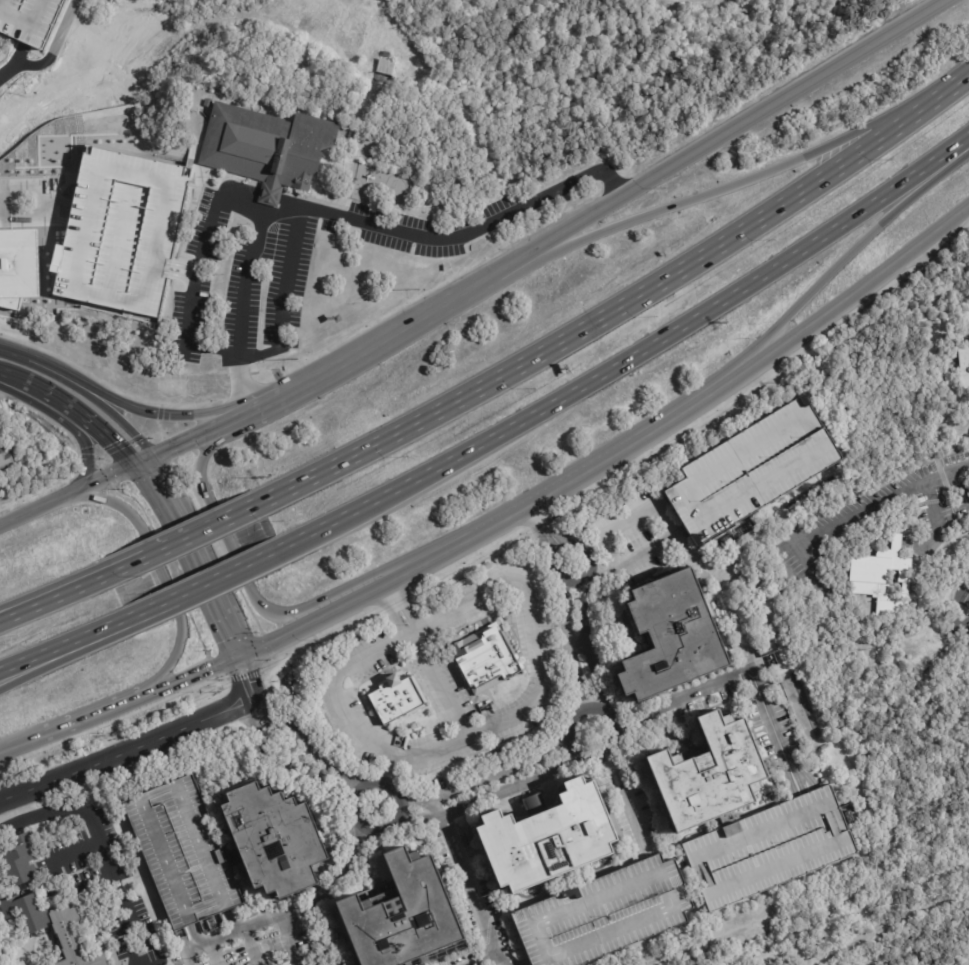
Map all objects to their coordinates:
building: (29, 19)
parking garage: (29, 19)
road: (50, 53)
building: (385, 71)
road: (818, 81)
building: (212, 90)
road: (944, 90)
building: (209, 103)
building: (267, 147)
road: (726, 190)
road: (27, 207)
road: (605, 209)
road: (468, 224)
building: (121, 228)
parking garage: (121, 228)
building: (23, 265)
road: (825, 280)
road: (246, 281)
road: (192, 283)
road: (285, 304)
road: (445, 305)
road: (940, 311)
road: (825, 315)
road: (599, 321)
road: (631, 359)
road: (35, 363)
building: (965, 366)
road: (337, 367)
park: (853, 375)
road: (1, 381)
road: (22, 387)
road: (296, 388)
road: (252, 409)
road: (143, 412)
road: (115, 416)
road: (939, 423)
road: (91, 433)
road: (82, 438)
road: (182, 442)
traffic signals: (106, 447)
traffic signals: (173, 447)
road: (950, 450)
building: (4, 456)
building: (752, 468)
parking garage: (752, 468)
road: (148, 471)
traffic signals: (154, 481)
road: (71, 494)
road: (882, 497)
road: (538, 498)
road: (226, 520)
road: (545, 525)
road: (506, 535)
road: (182, 540)
road: (196, 557)
road: (140, 559)
road: (701, 563)
road: (160, 569)
road: (218, 576)
building: (885, 578)
road: (580, 580)
road: (245, 583)
road: (77, 587)
road: (402, 602)
road: (23, 605)
road: (147, 608)
road: (23, 610)
road: (388, 612)
road: (318, 616)
road: (531, 621)
road: (110, 624)
road: (408, 631)
building: (672, 635)
traffic signals: (232, 637)
road: (592, 642)
road: (235, 645)
road: (571, 645)
building: (766, 648)
road: (44, 654)
building: (487, 659)
road: (45, 665)
traffic signals: (206, 667)
road: (193, 672)
road: (244, 672)
road: (742, 677)
traffic signals: (247, 683)
building: (395, 698)
road: (97, 715)
road: (299, 740)
road: (23, 745)
road: (126, 749)
road: (608, 751)
road: (398, 753)
road: (390, 765)
road: (487, 774)
building: (707, 774)
road: (495, 793)
road: (618, 809)
road: (349, 813)
building: (275, 837)
building: (550, 838)
road: (97, 842)
building: (768, 848)
parking garage: (768, 848)
road: (72, 851)
building: (183, 852)
parking garage: (183, 852)
building: (21, 859)
road: (466, 881)
road: (334, 887)
building: (608, 913)
parking garage: (608, 913)
road: (889, 913)
building: (401, 915)
road: (251, 925)
building: (25, 930)
park: (819, 935)
road: (250, 947)
road: (212, 953)
road: (484, 960)
road: (133, 962)
road: (530, 964)

